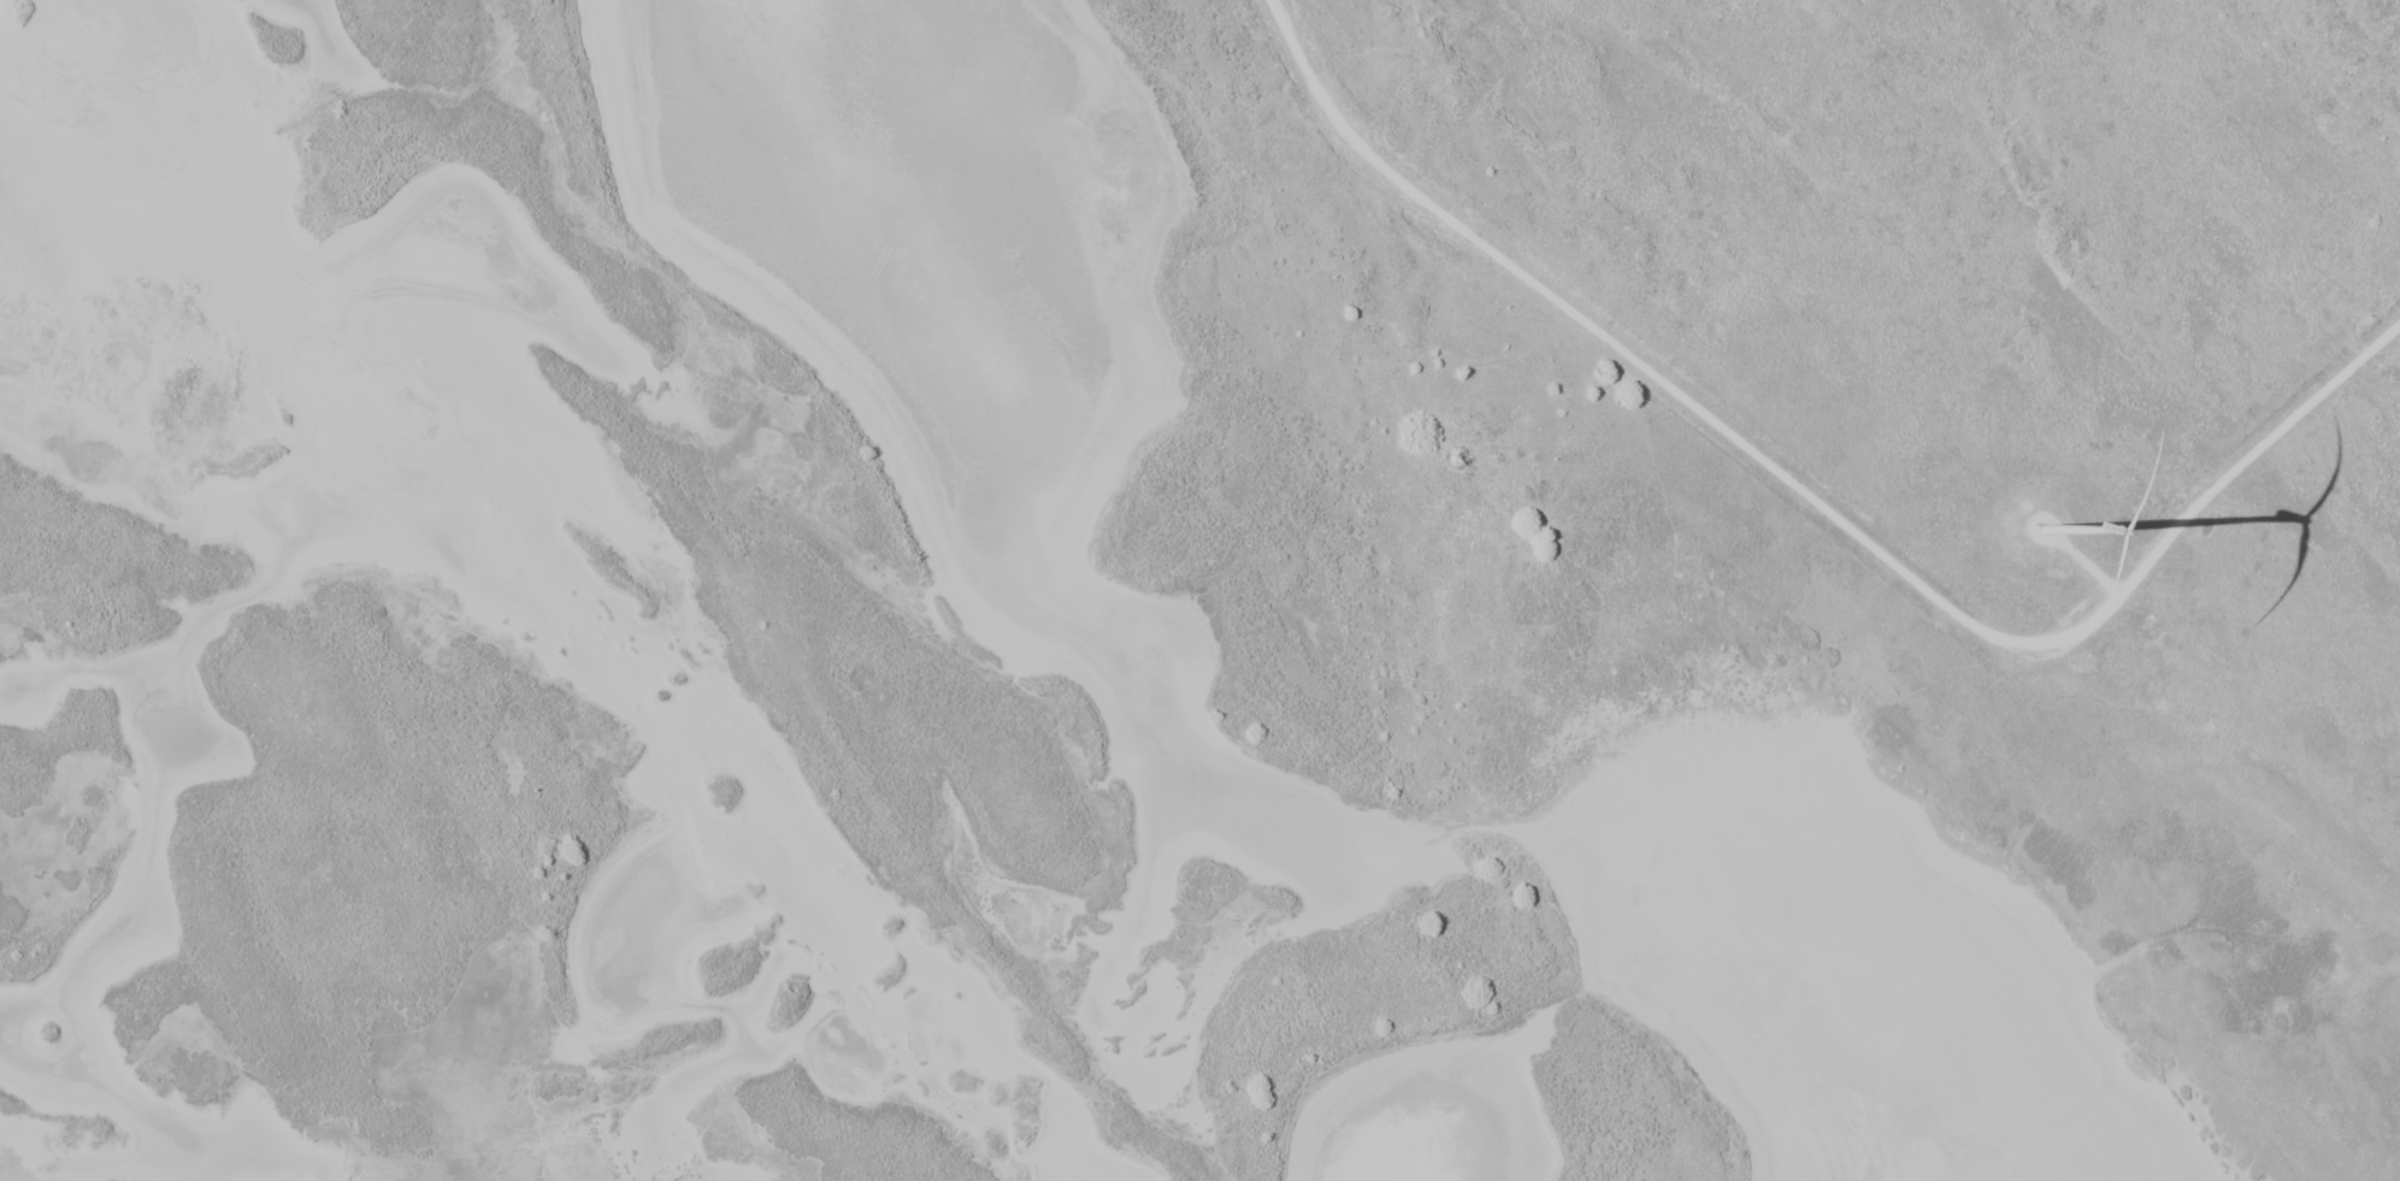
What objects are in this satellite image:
wind turbine: (2042, 531)

